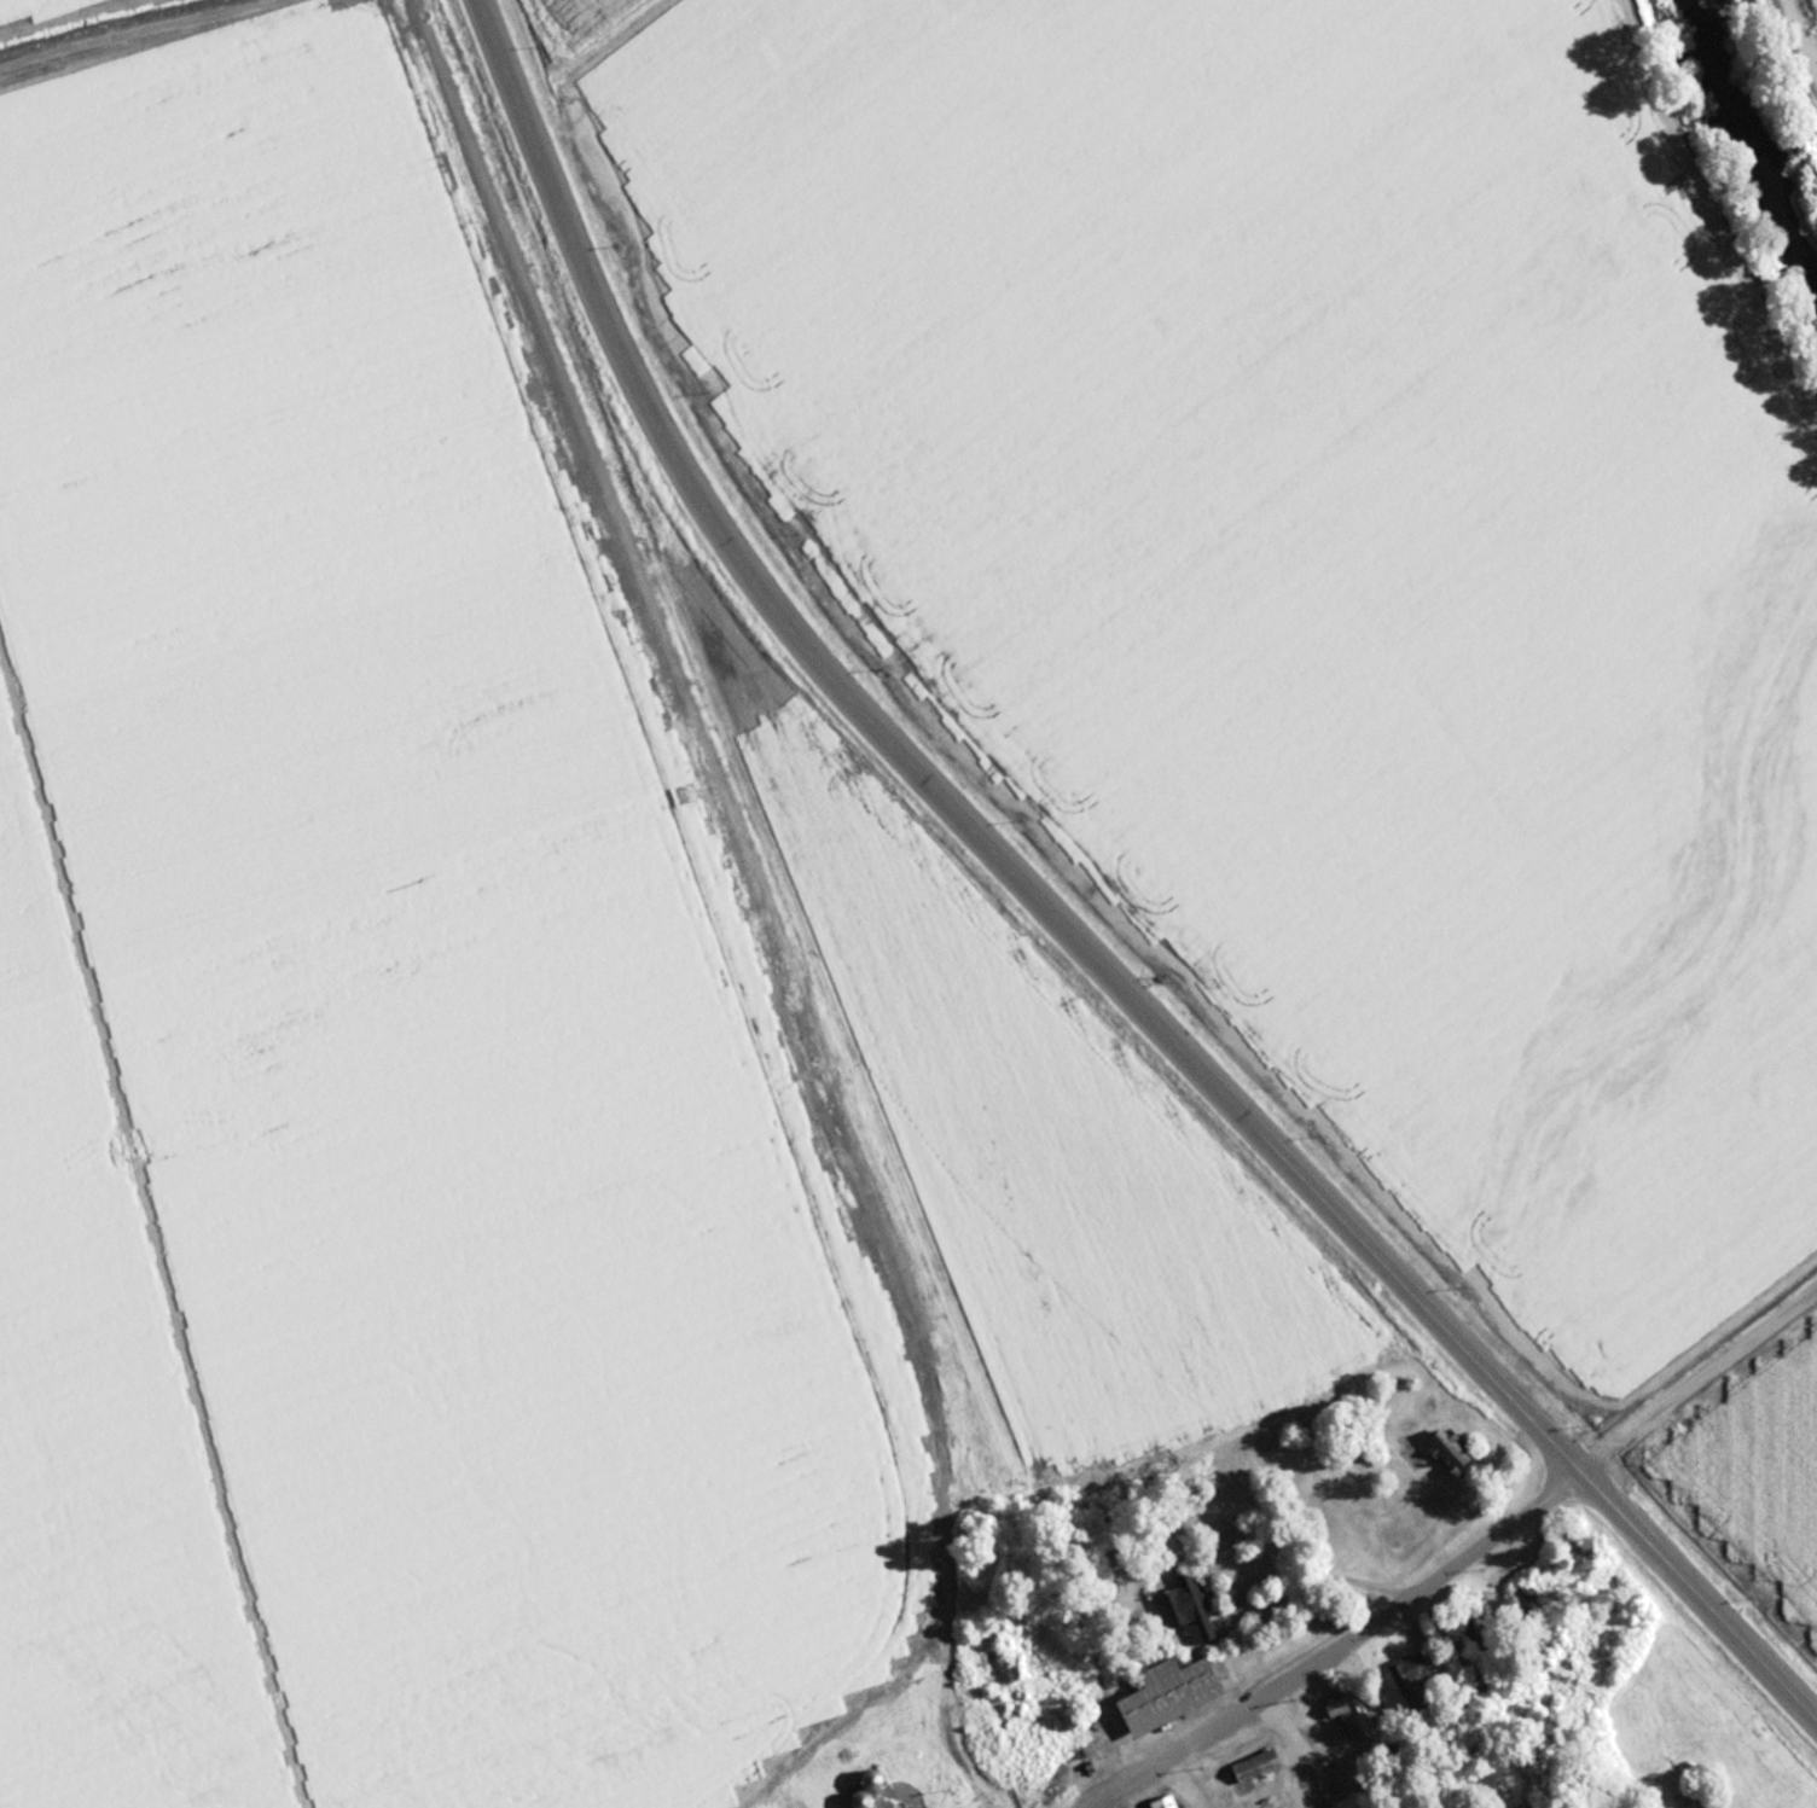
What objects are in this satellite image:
road: (1800, 37)
river: (1753, 107)
road: (1706, 225)
road: (1053, 924)
road: (153, 1237)
road: (1694, 1371)
building: (1442, 1447)
road: (1300, 1589)
building: (1180, 1609)
building: (1474, 1634)
road: (1333, 1645)
building: (1405, 1667)
building: (1161, 1694)
building: (1343, 1713)
road: (1289, 1748)
building: (1249, 1766)
building: (860, 1787)
building: (1683, 1801)
building: (1159, 1802)

